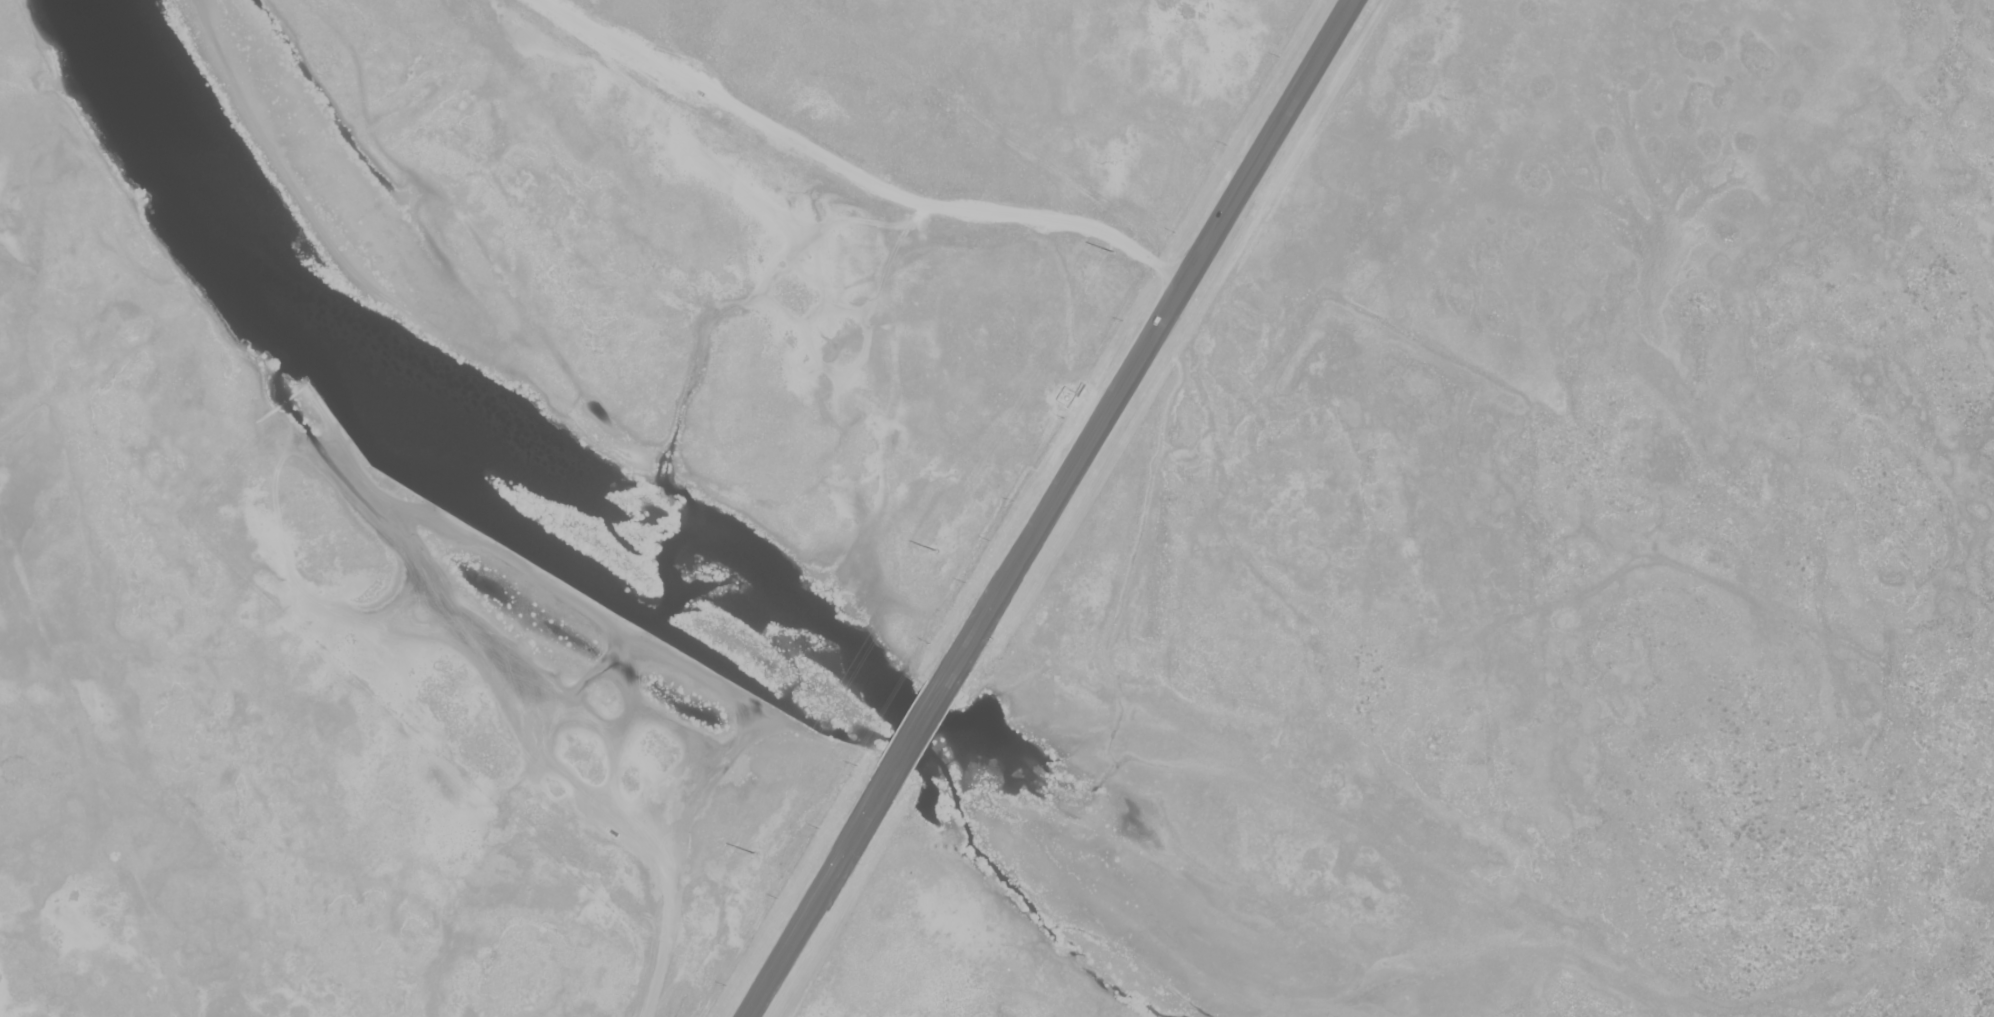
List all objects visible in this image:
road: (849, 172)
power tower: (1114, 256)
river: (270, 323)
road: (1144, 346)
park: (520, 457)
power tower: (936, 553)
park: (1525, 565)
road: (914, 732)
road: (645, 847)
power tower: (755, 854)
road: (819, 895)
road: (661, 951)

